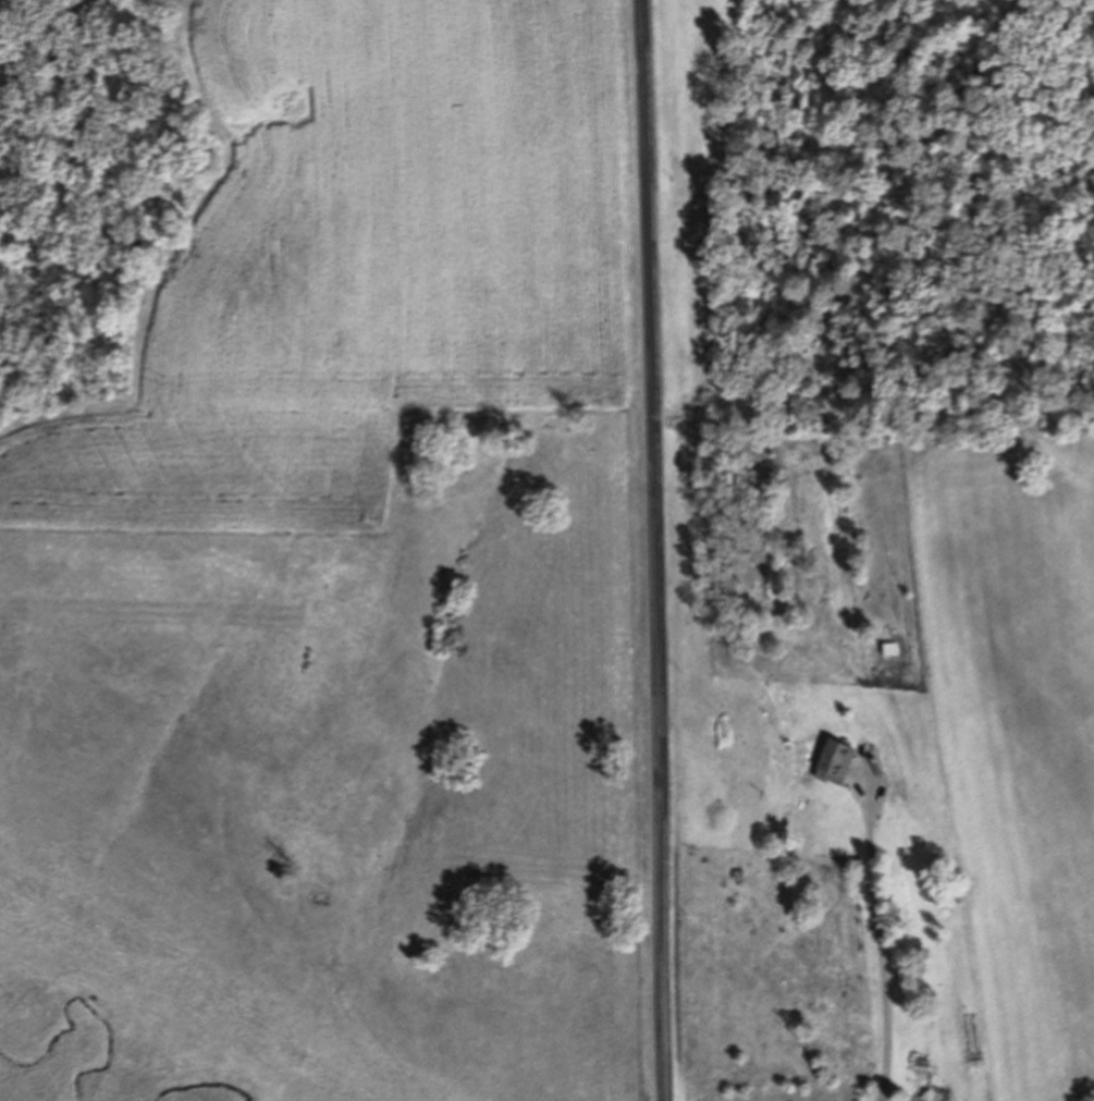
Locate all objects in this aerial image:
road: (657, 550)
building: (835, 763)

